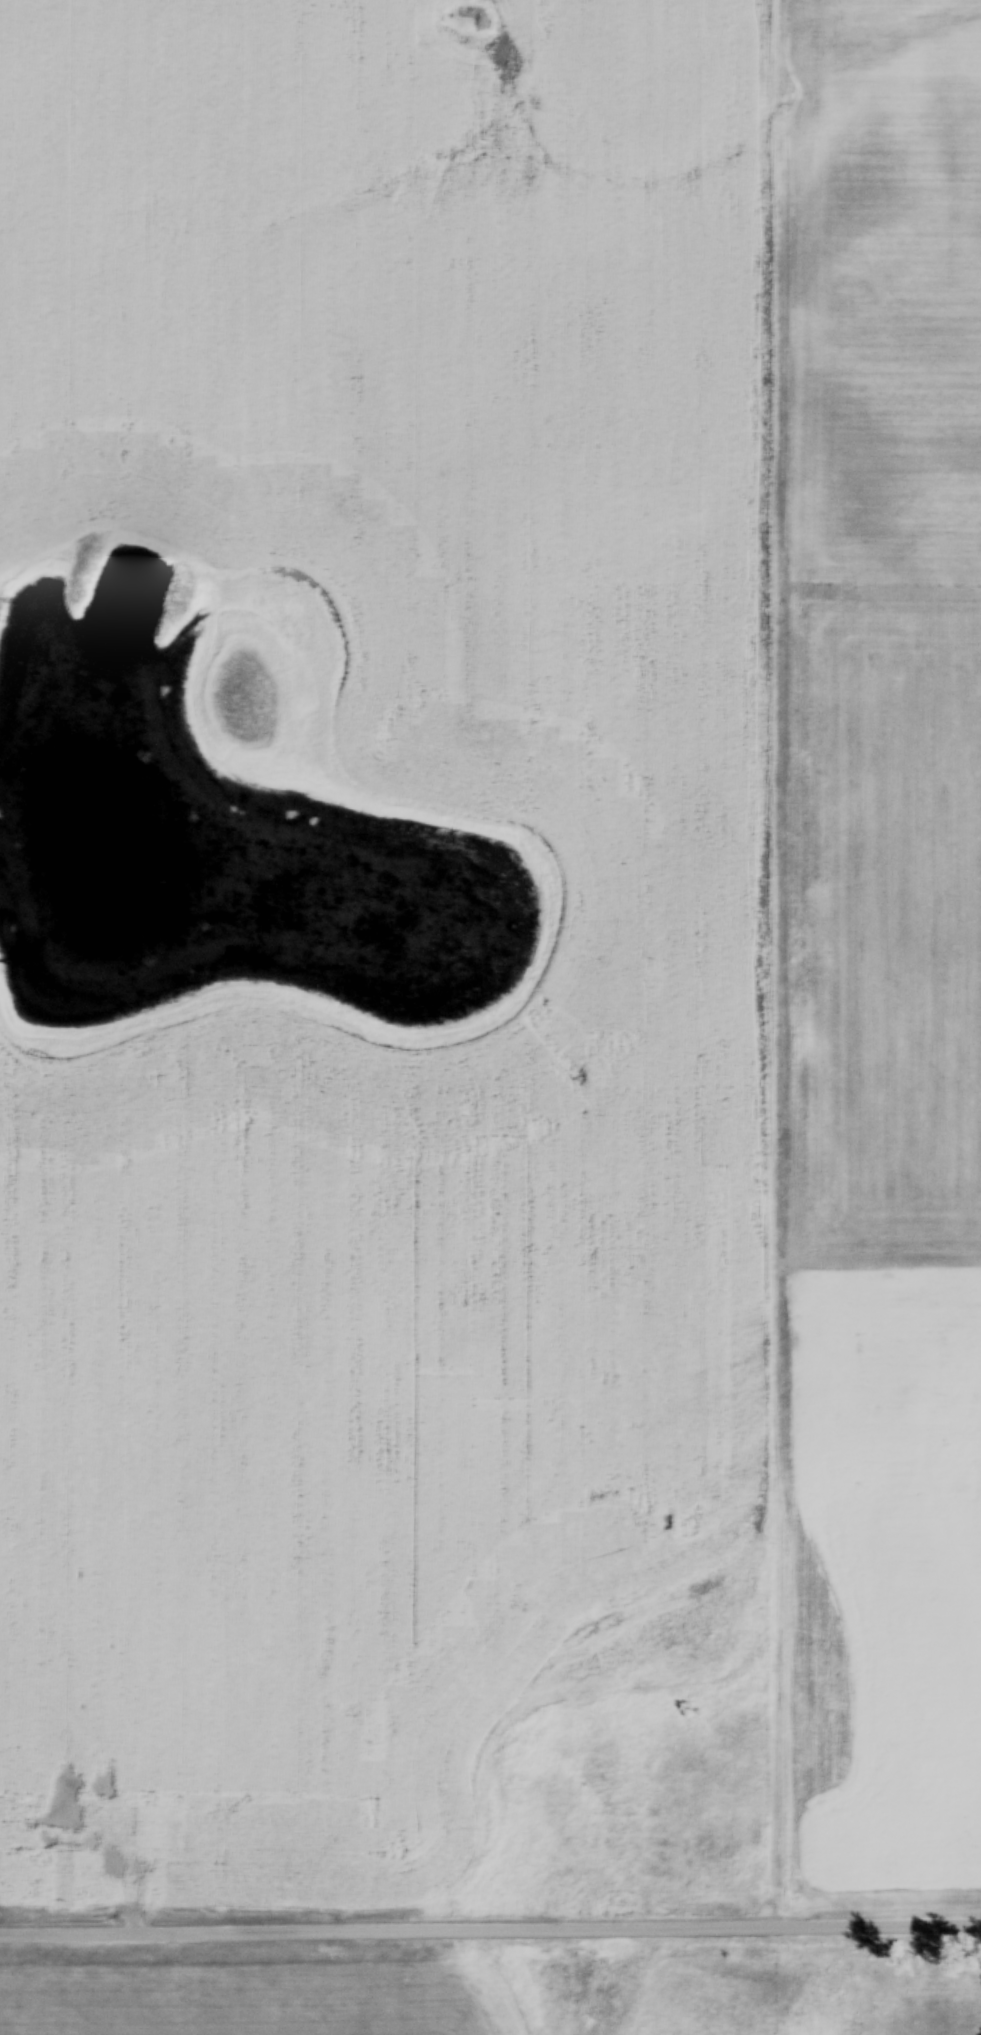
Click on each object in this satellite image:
road: (490, 1927)

